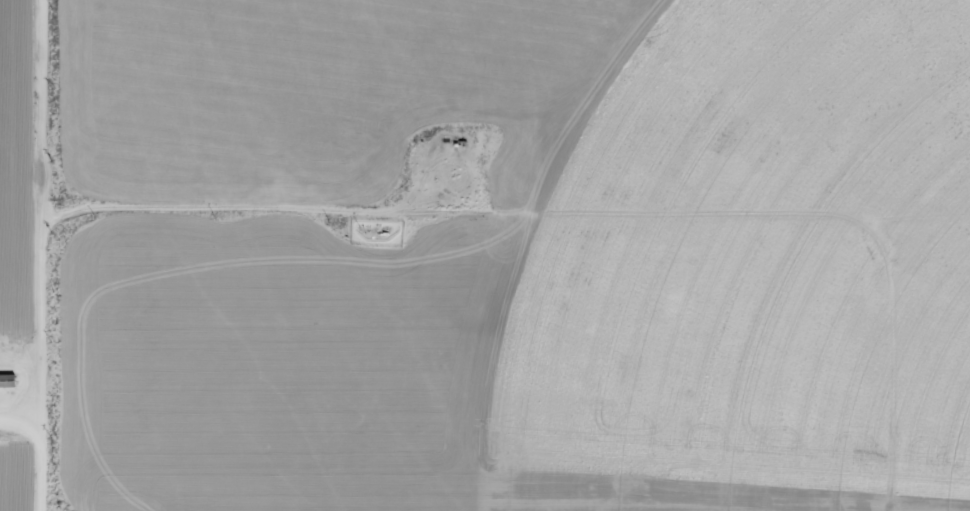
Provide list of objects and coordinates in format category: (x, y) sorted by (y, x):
road: (238, 239)
road: (45, 255)
road: (22, 416)

